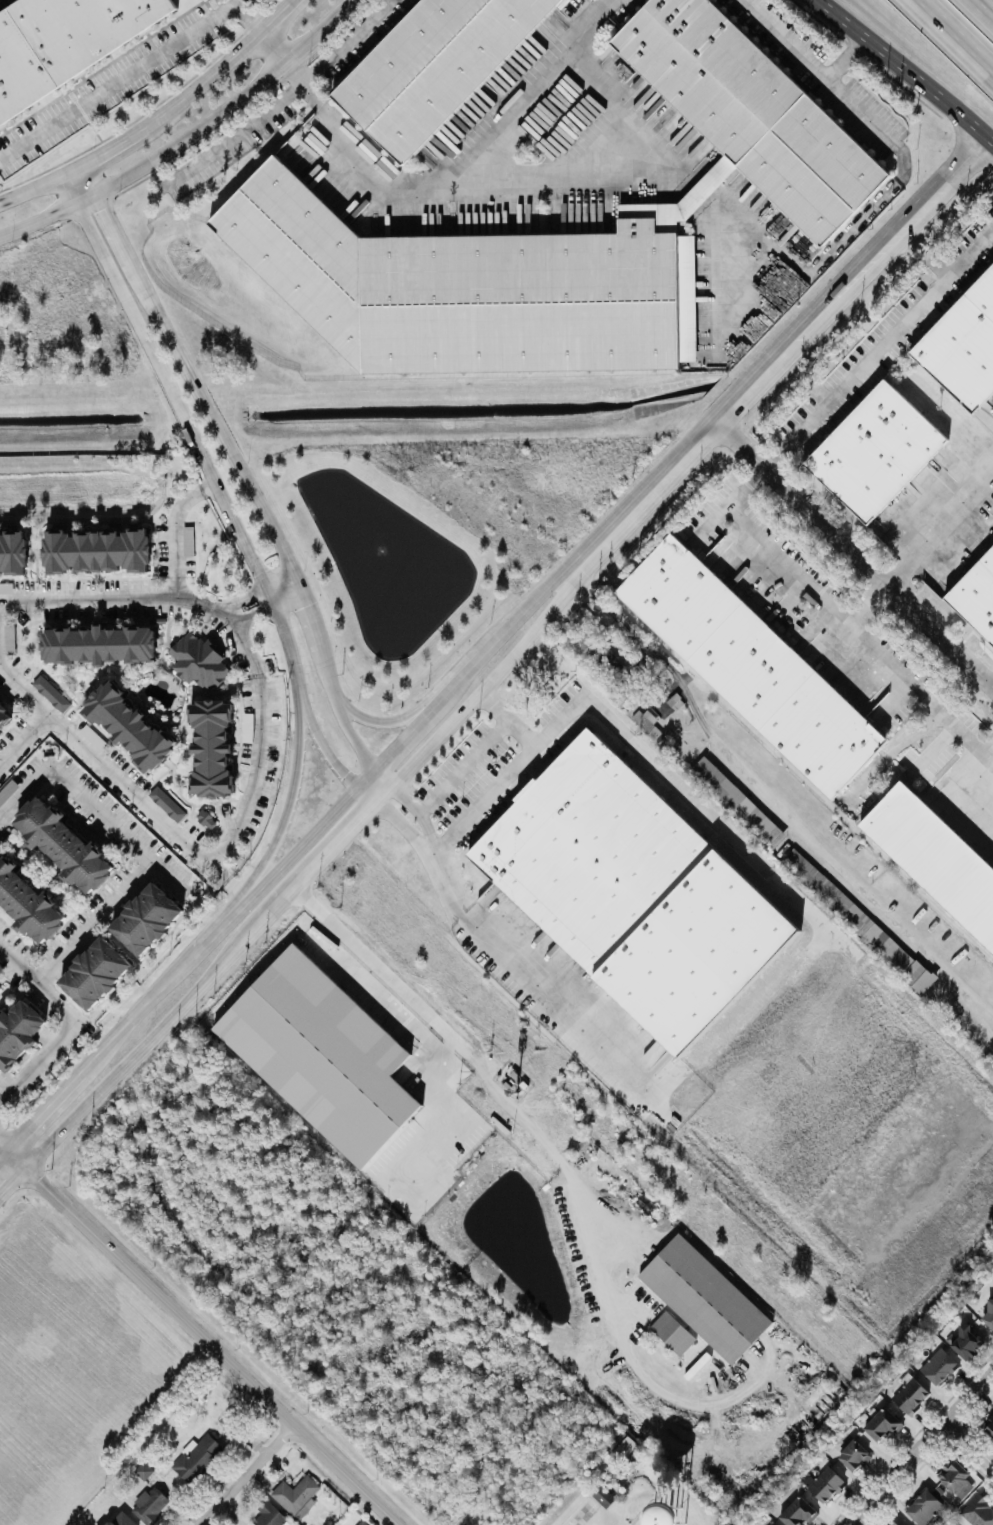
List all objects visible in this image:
road: (979, 13)
road: (275, 16)
road: (246, 19)
road: (963, 29)
road: (351, 35)
building: (63, 41)
road: (270, 45)
building: (433, 65)
road: (908, 70)
road: (310, 75)
road: (119, 79)
road: (204, 82)
road: (228, 102)
building: (754, 112)
road: (237, 133)
road: (108, 149)
road: (461, 171)
road: (635, 174)
road: (84, 182)
road: (891, 185)
road: (72, 188)
road: (35, 189)
road: (86, 199)
road: (38, 221)
building: (472, 286)
building: (963, 345)
road: (781, 352)
road: (839, 385)
building: (876, 450)
road: (242, 477)
road: (220, 495)
fountain: (357, 518)
road: (939, 523)
road: (175, 529)
building: (188, 540)
building: (13, 549)
building: (97, 549)
road: (854, 552)
fountain: (402, 574)
road: (283, 587)
building: (976, 595)
road: (866, 600)
road: (249, 605)
road: (525, 608)
road: (858, 631)
building: (9, 637)
building: (99, 643)
building: (199, 660)
building: (752, 665)
road: (457, 681)
road: (489, 682)
building: (51, 692)
road: (598, 708)
building: (3, 713)
road: (379, 718)
road: (507, 719)
building: (128, 722)
building: (648, 723)
road: (402, 737)
road: (23, 738)
building: (211, 744)
road: (927, 753)
road: (991, 758)
road: (463, 765)
road: (250, 769)
road: (366, 775)
road: (384, 775)
road: (975, 781)
road: (766, 788)
road: (24, 790)
road: (366, 793)
building: (738, 801)
building: (167, 803)
road: (288, 811)
road: (420, 813)
building: (206, 818)
road: (404, 826)
road: (119, 830)
road: (302, 842)
building: (63, 843)
building: (590, 850)
road: (326, 851)
building: (935, 857)
road: (733, 861)
building: (28, 902)
building: (146, 918)
road: (92, 919)
building: (859, 919)
road: (219, 929)
road: (488, 942)
building: (697, 949)
building: (95, 972)
road: (37, 983)
building: (0, 989)
road: (981, 1009)
road: (135, 1011)
road: (981, 1019)
building: (18, 1031)
road: (469, 1040)
road: (144, 1044)
building: (322, 1053)
road: (37, 1060)
road: (469, 1063)
road: (43, 1108)
road: (3, 1145)
road: (3, 1151)
road: (12, 1179)
building: (705, 1297)
building: (988, 1314)
building: (672, 1331)
road: (202, 1336)
building: (967, 1341)
road: (627, 1352)
building: (939, 1365)
building: (881, 1423)
building: (988, 1428)
road: (969, 1442)
building: (621, 1445)
road: (918, 1448)
building: (854, 1455)
building: (197, 1457)
building: (143, 1469)
road: (246, 1474)
building: (956, 1477)
building: (824, 1483)
building: (296, 1495)
building: (603, 1495)
building: (150, 1504)
building: (923, 1506)
building: (798, 1511)
building: (978, 1511)
road: (583, 1513)
building: (269, 1514)
building: (122, 1519)
building: (897, 1521)
building: (364, 1522)
building: (772, 1524)

